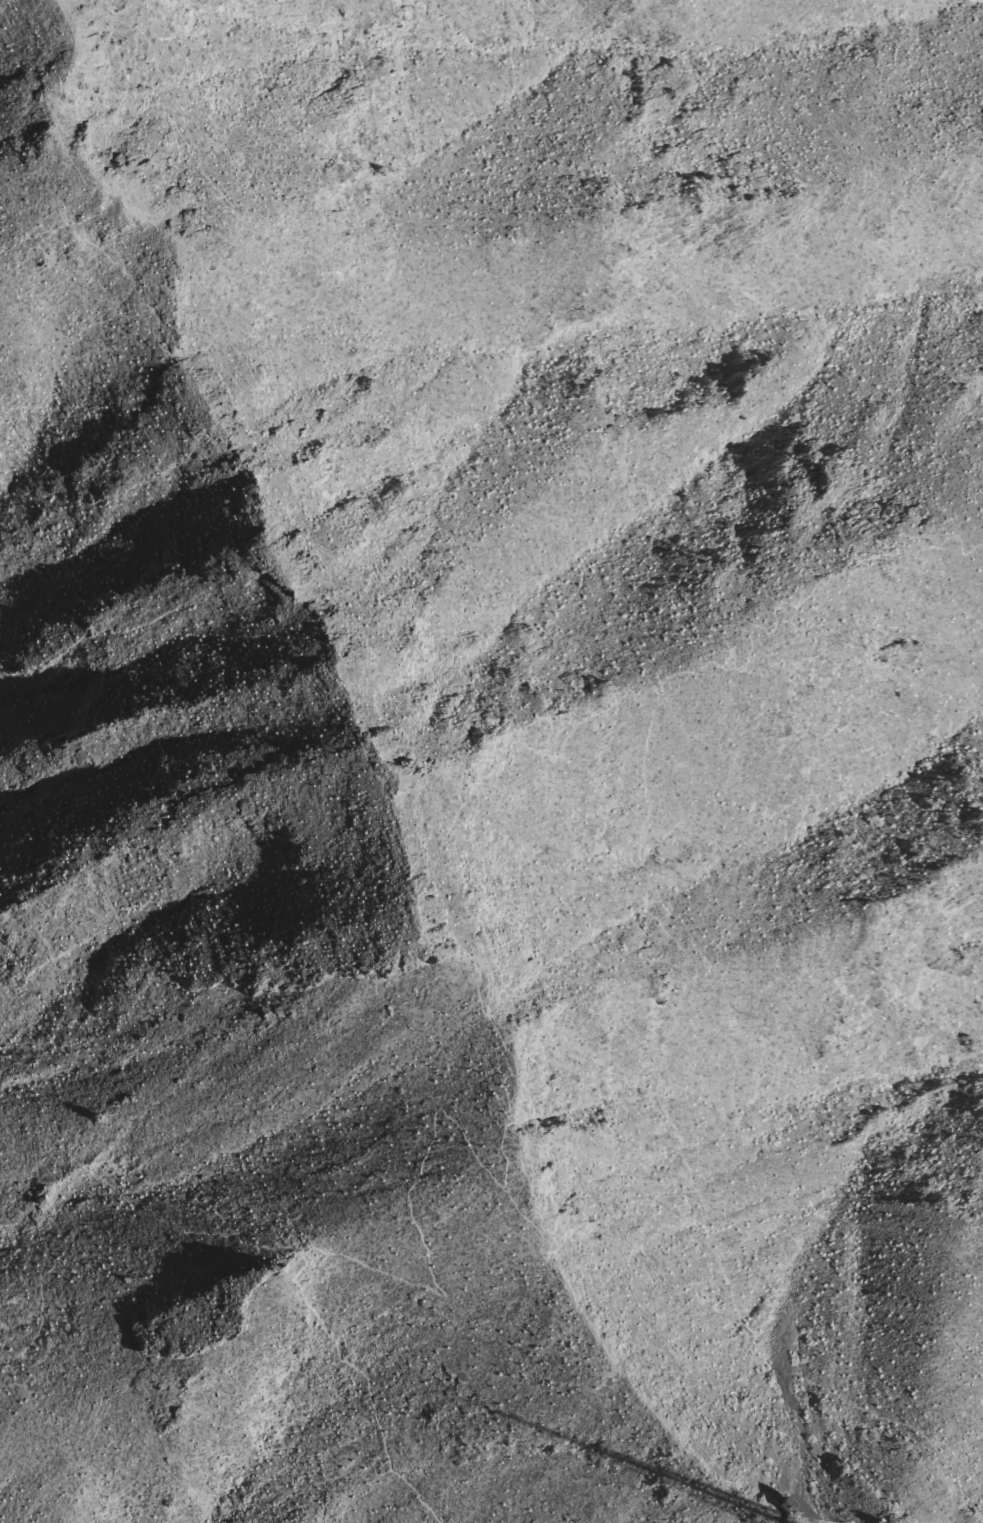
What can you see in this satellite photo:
road: (790, 603)
road: (499, 748)

